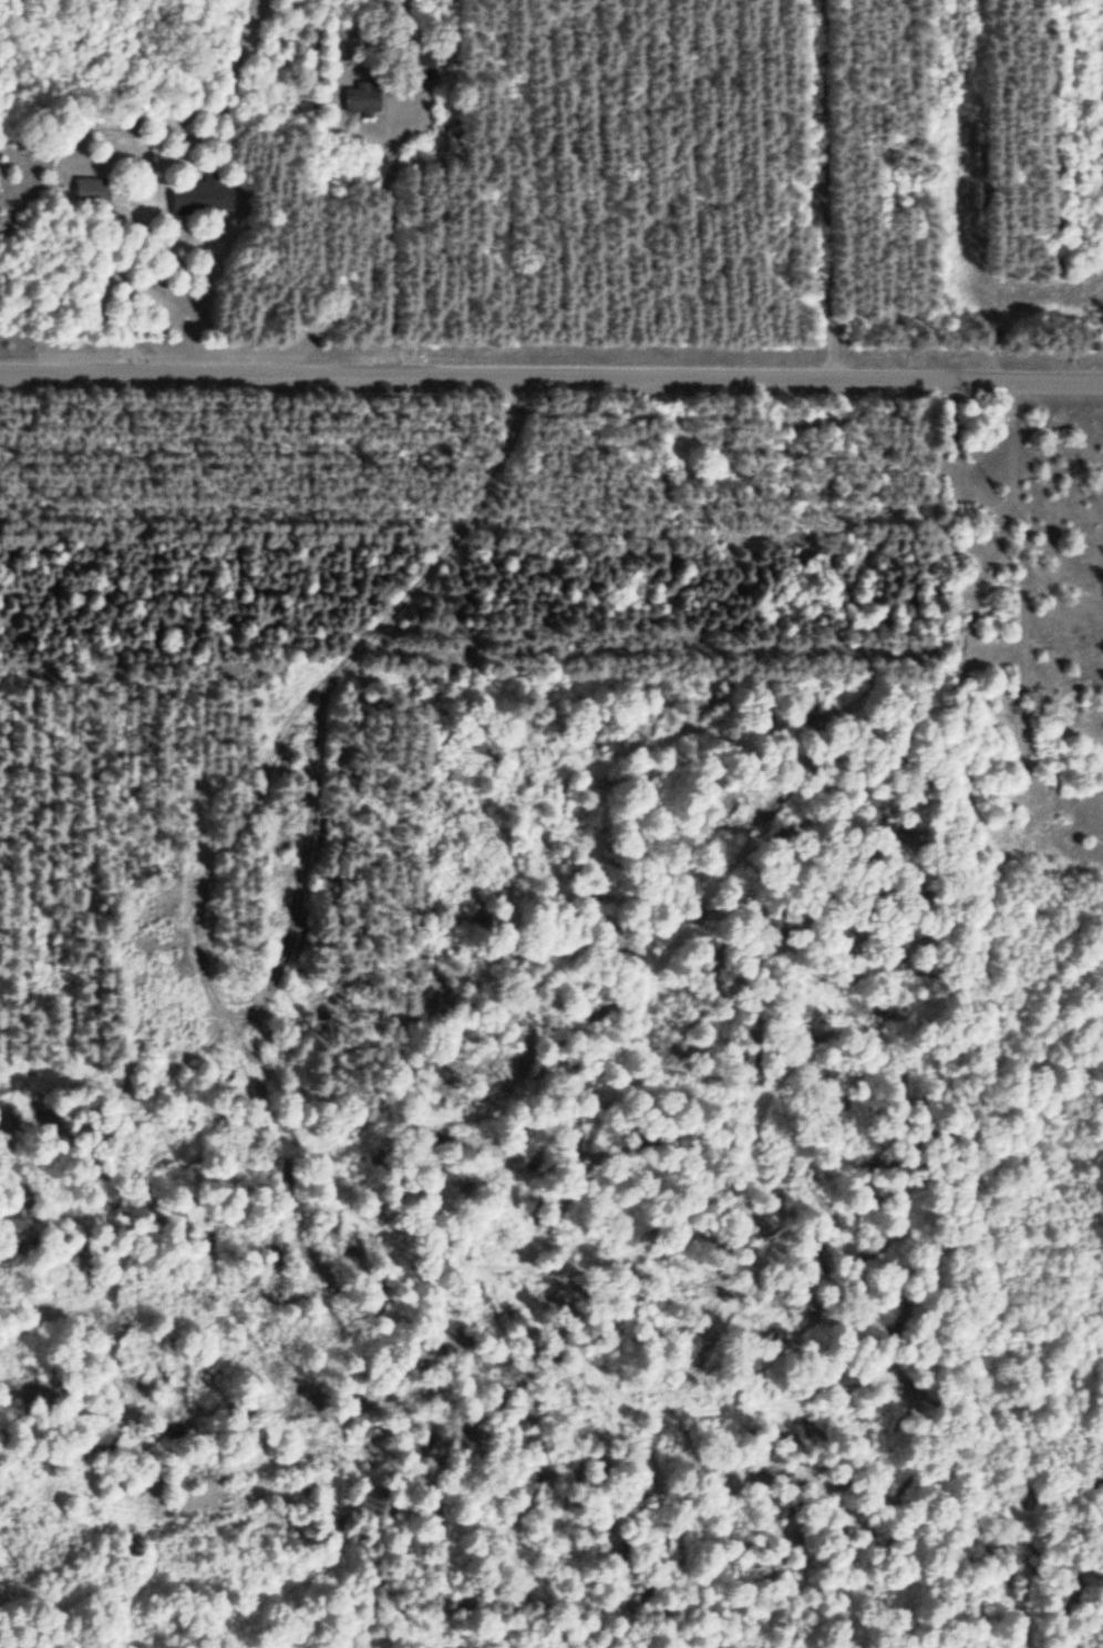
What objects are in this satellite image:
building: (365, 100)
road: (831, 189)
road: (551, 377)

